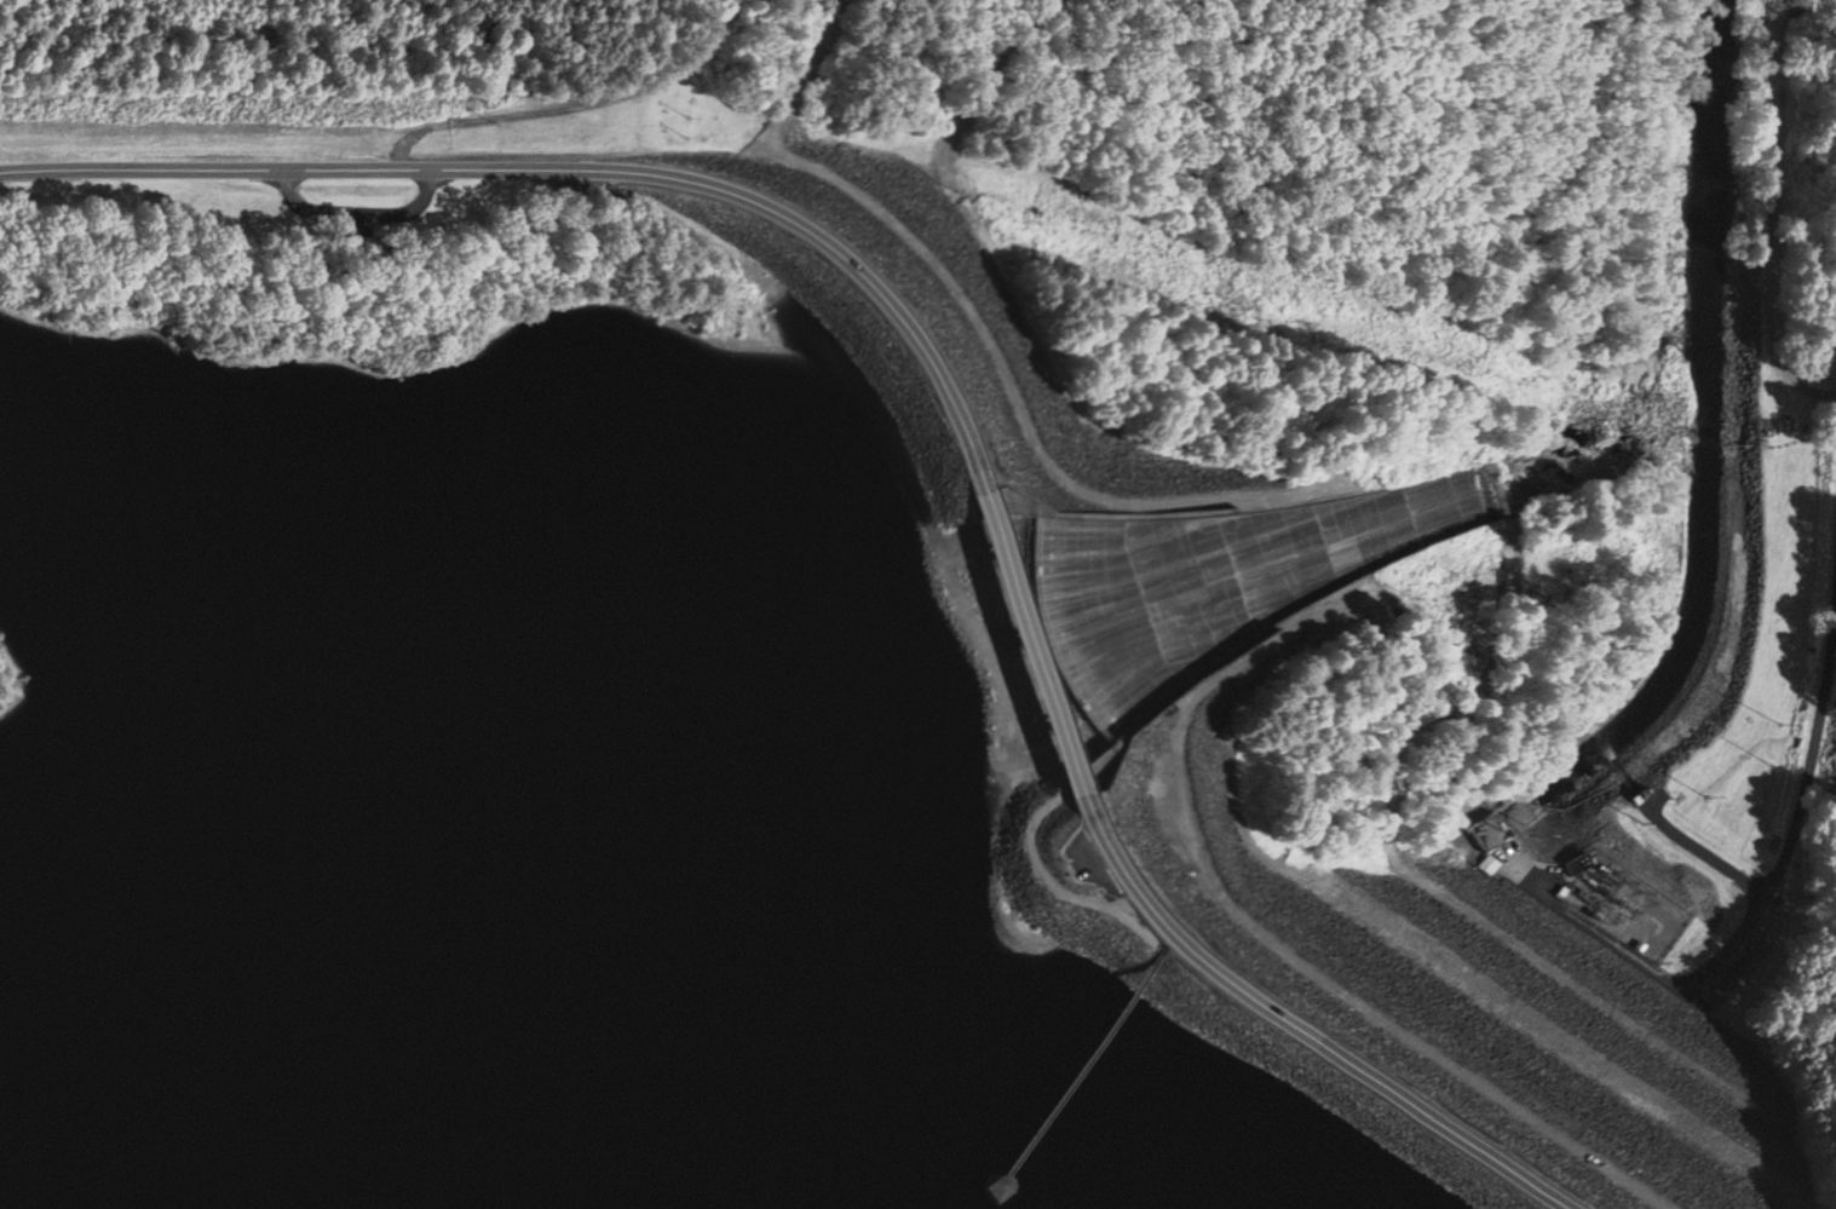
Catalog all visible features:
road: (575, 167)
river: (1711, 438)
road: (1040, 644)
road: (1823, 674)
dam: (1127, 690)
power tower: (1773, 764)
building: (1504, 823)
power substation: (1627, 904)
river: (1352, 908)
road: (1300, 1027)
river: (959, 1034)

